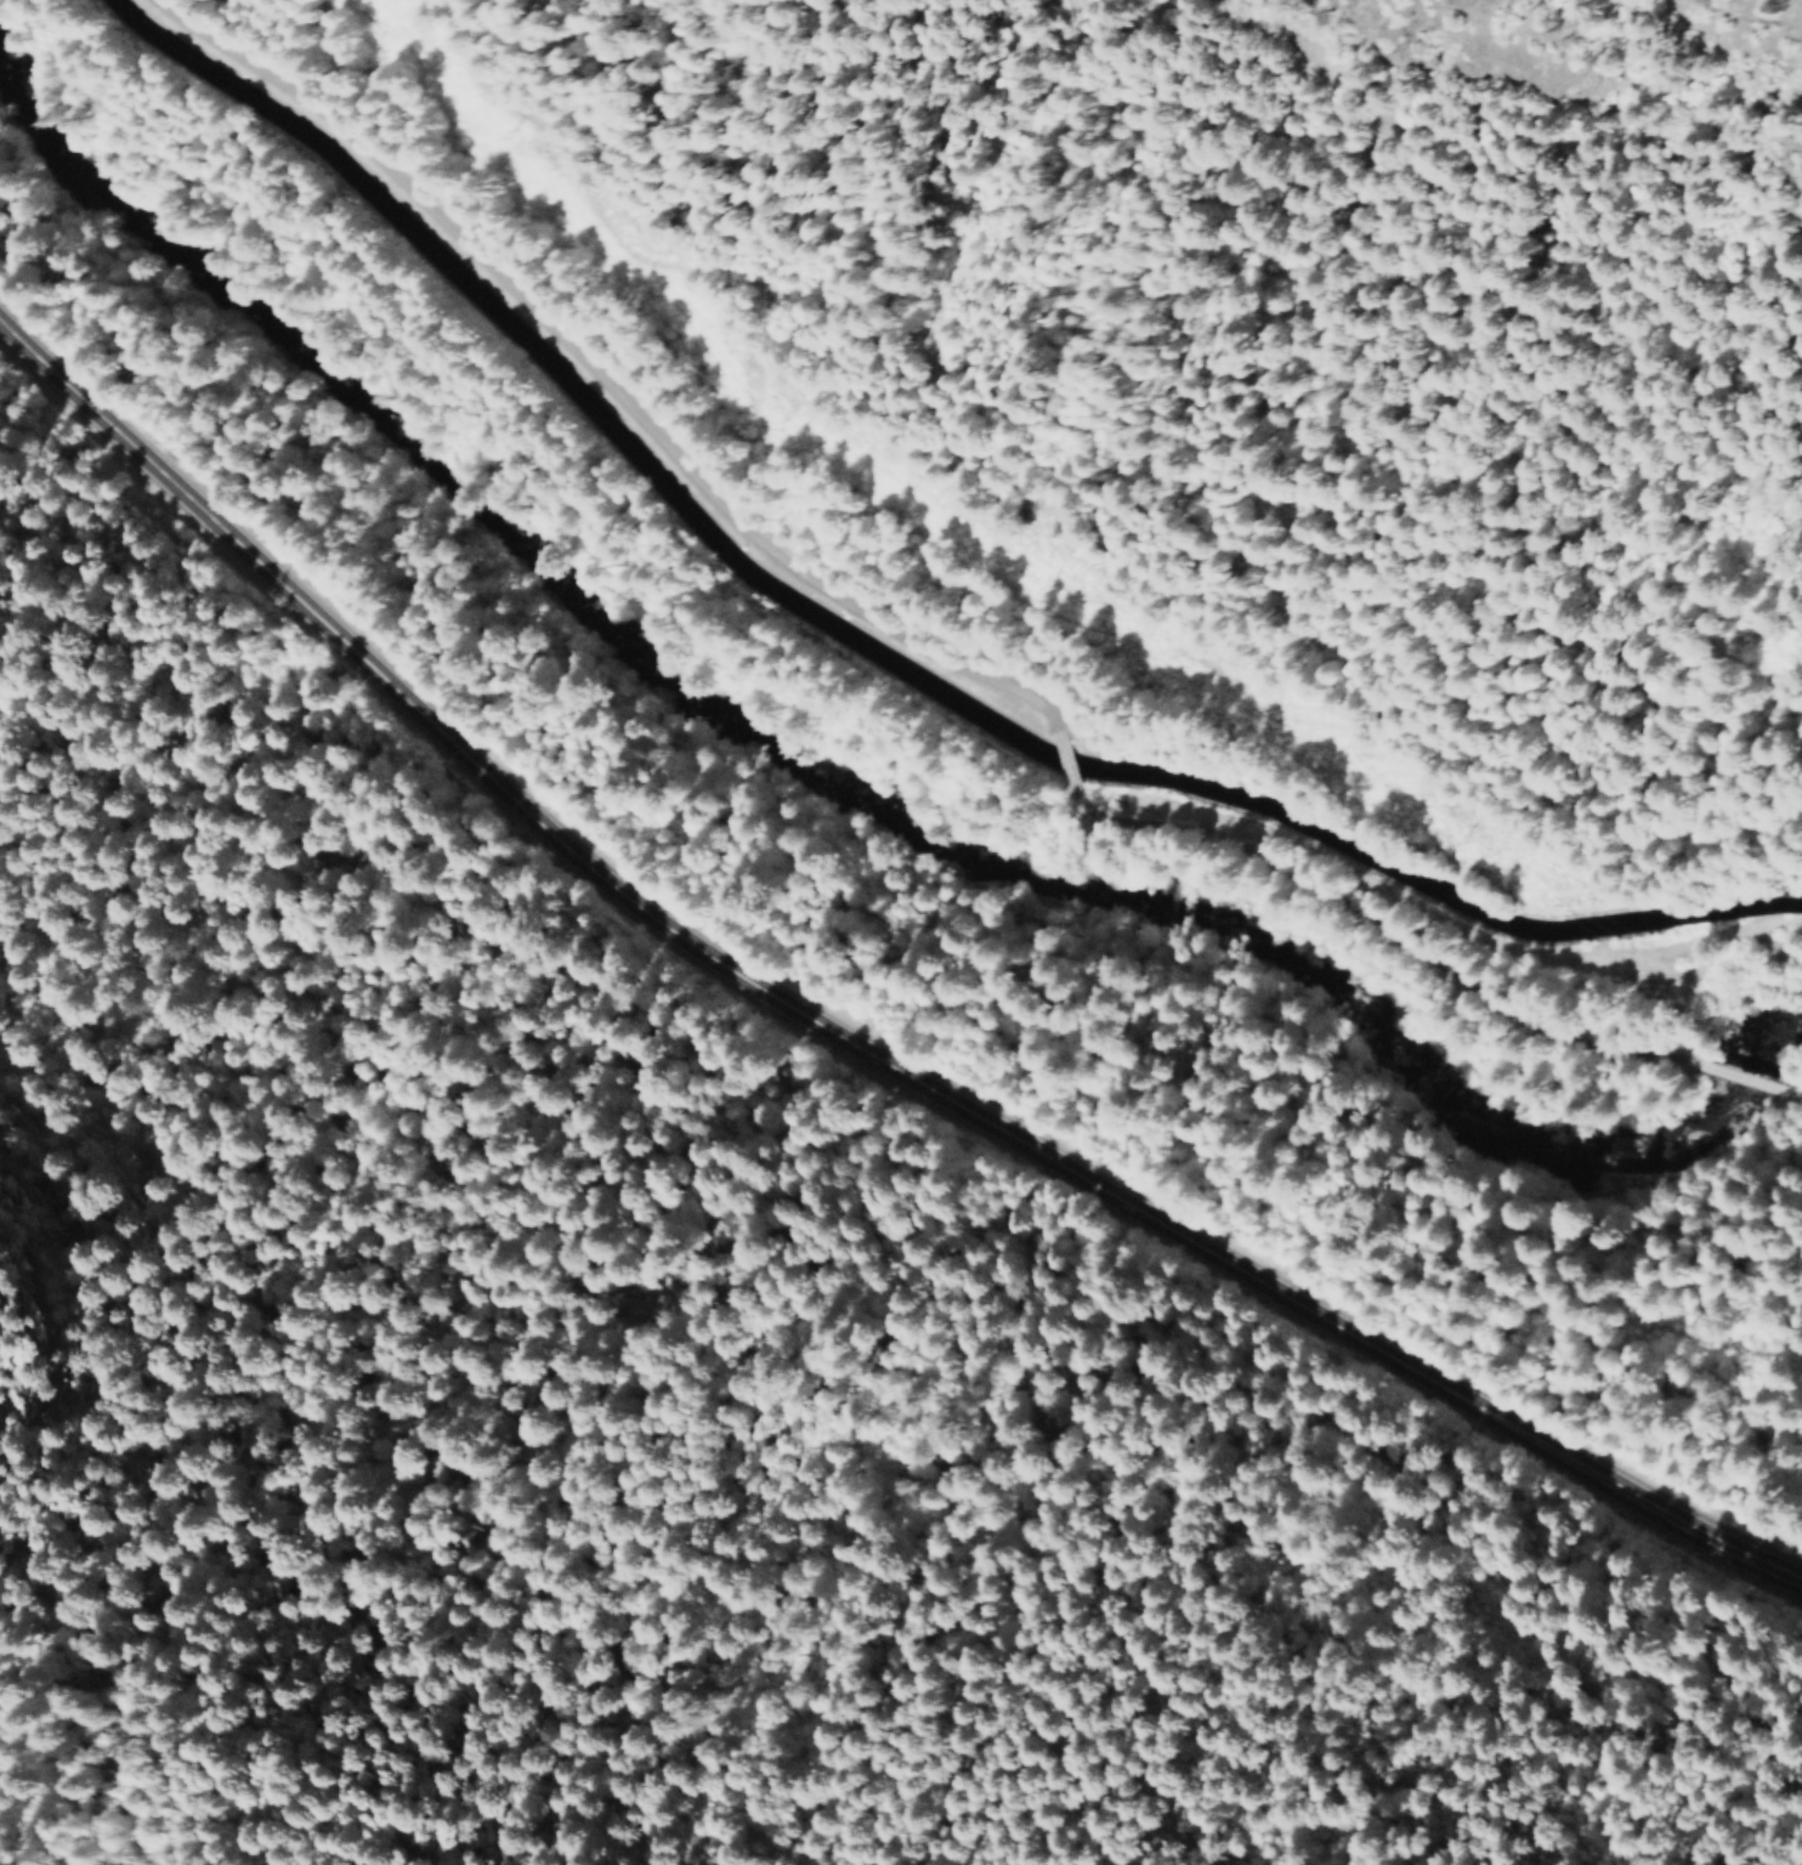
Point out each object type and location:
road: (589, 382)
power tower: (780, 420)
road: (1067, 759)
river: (837, 800)
road: (1381, 925)
road: (1511, 951)
road: (841, 1043)
road: (1746, 1077)

